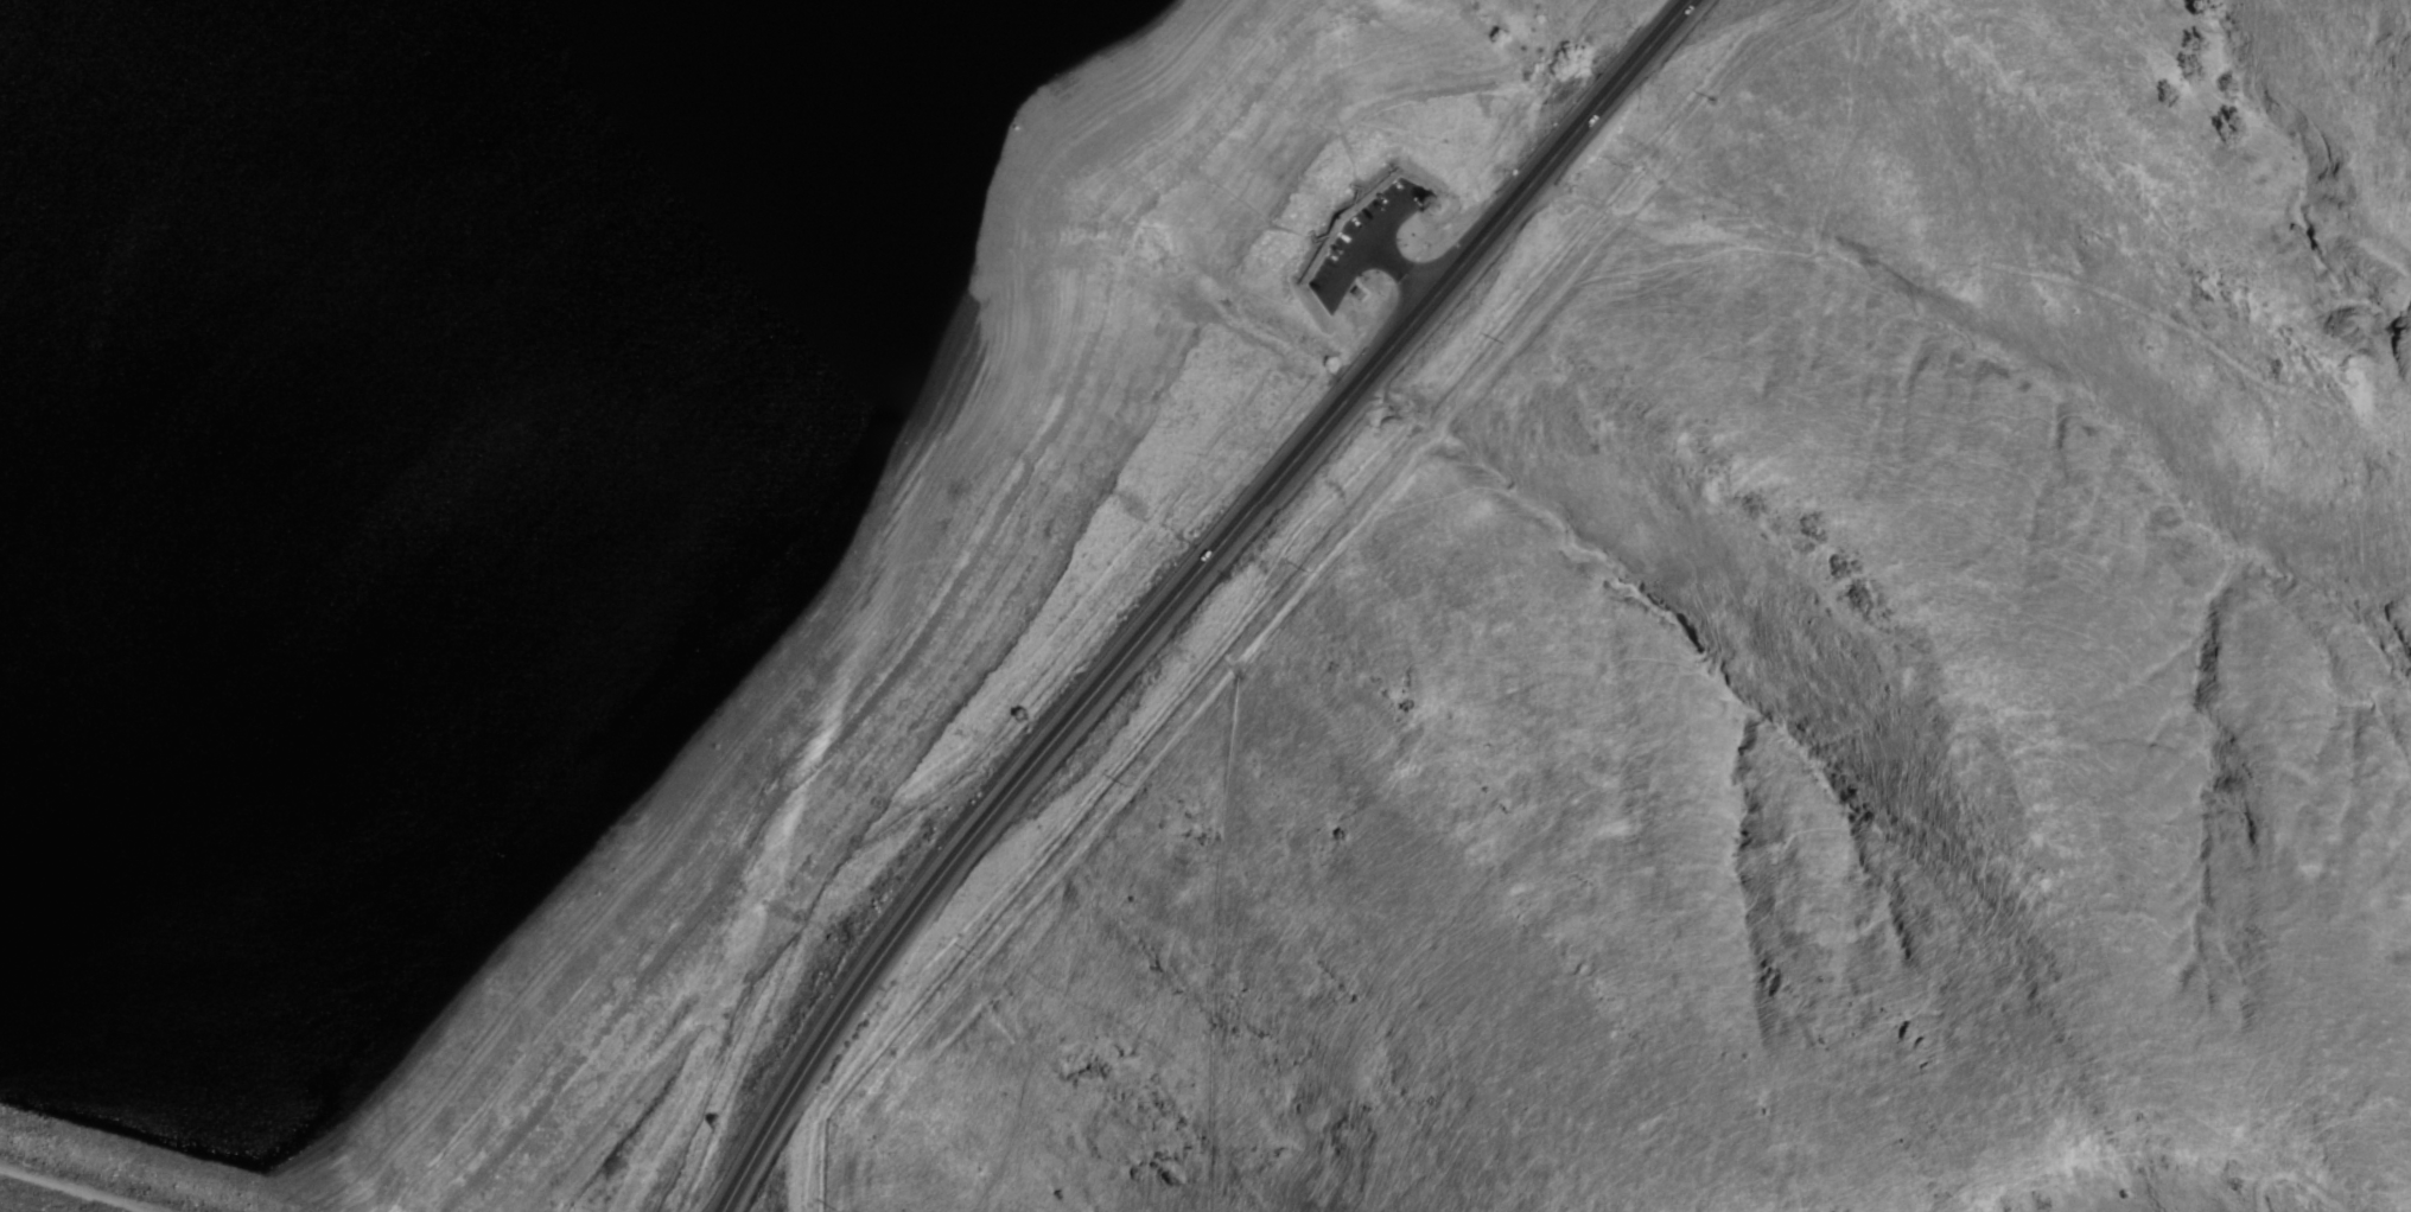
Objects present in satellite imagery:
road: (1184, 589)
dam: (669, 1135)
dam: (38, 1200)

